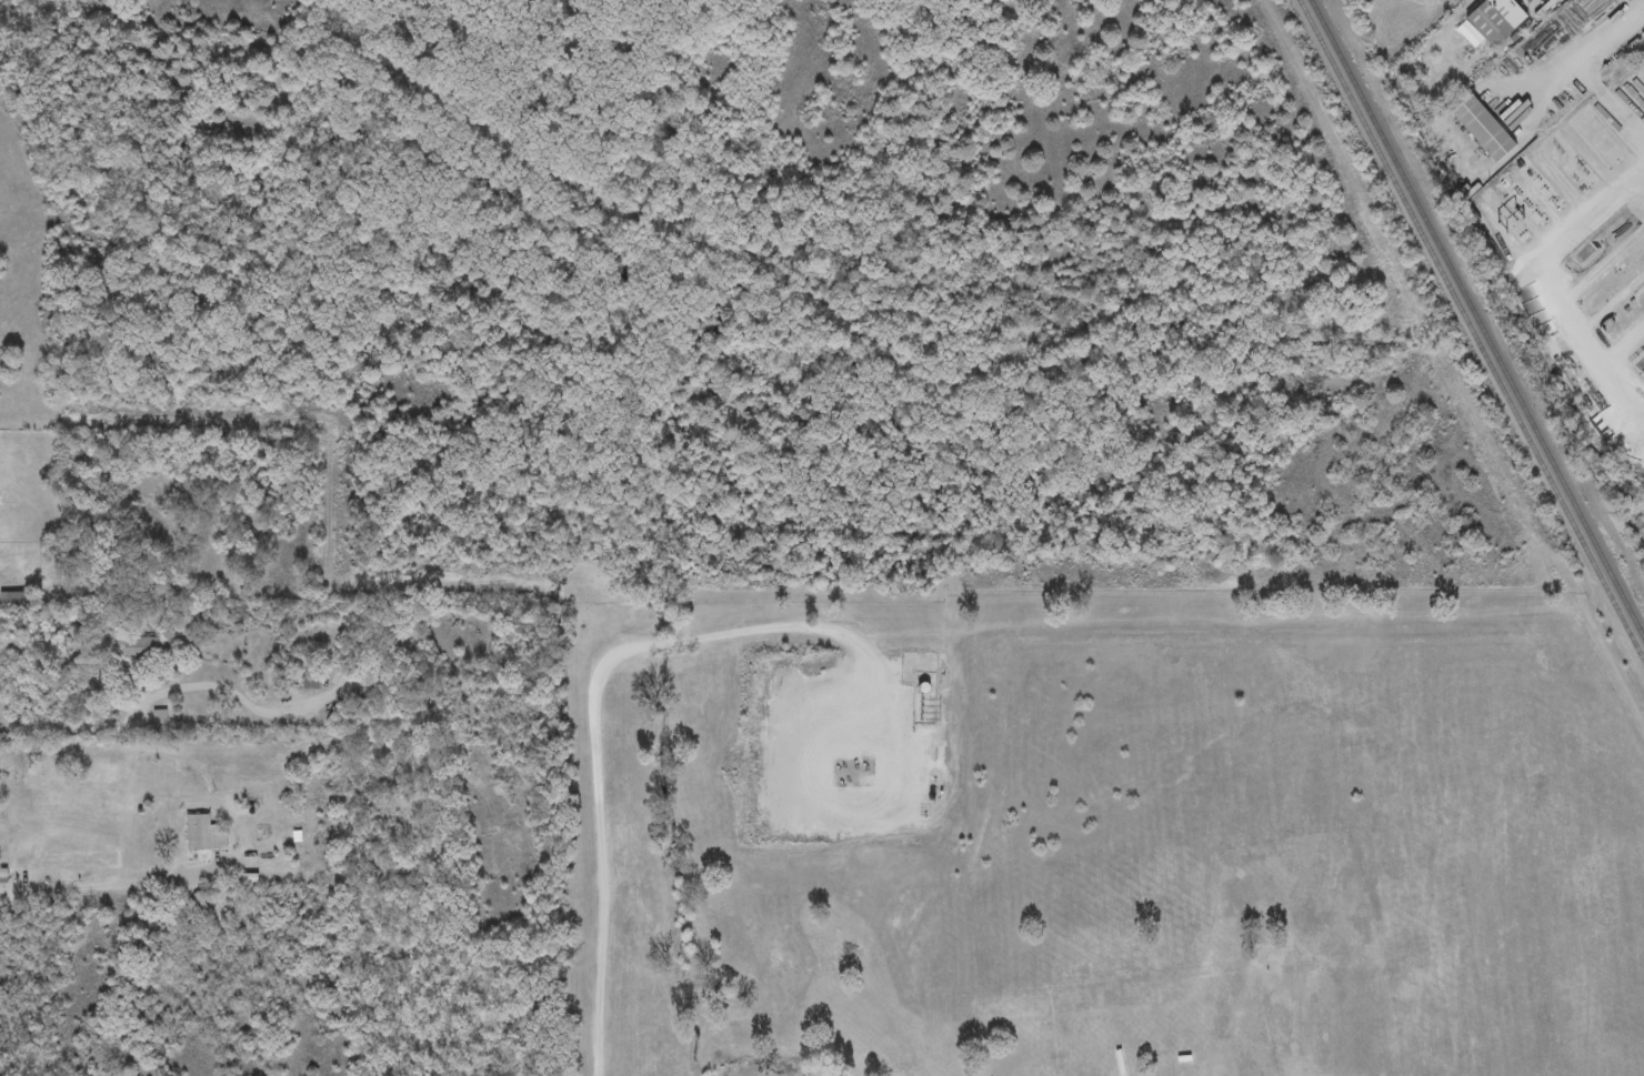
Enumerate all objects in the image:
building: (1497, 20)
road: (1615, 36)
road: (1612, 104)
building: (1484, 129)
railway: (1477, 319)
railway: (1471, 329)
building: (378, 685)
road: (163, 691)
road: (603, 734)
building: (204, 835)
building: (2, 874)
road: (108, 885)
building: (1147, 907)
building: (1414, 939)
building: (1413, 964)

